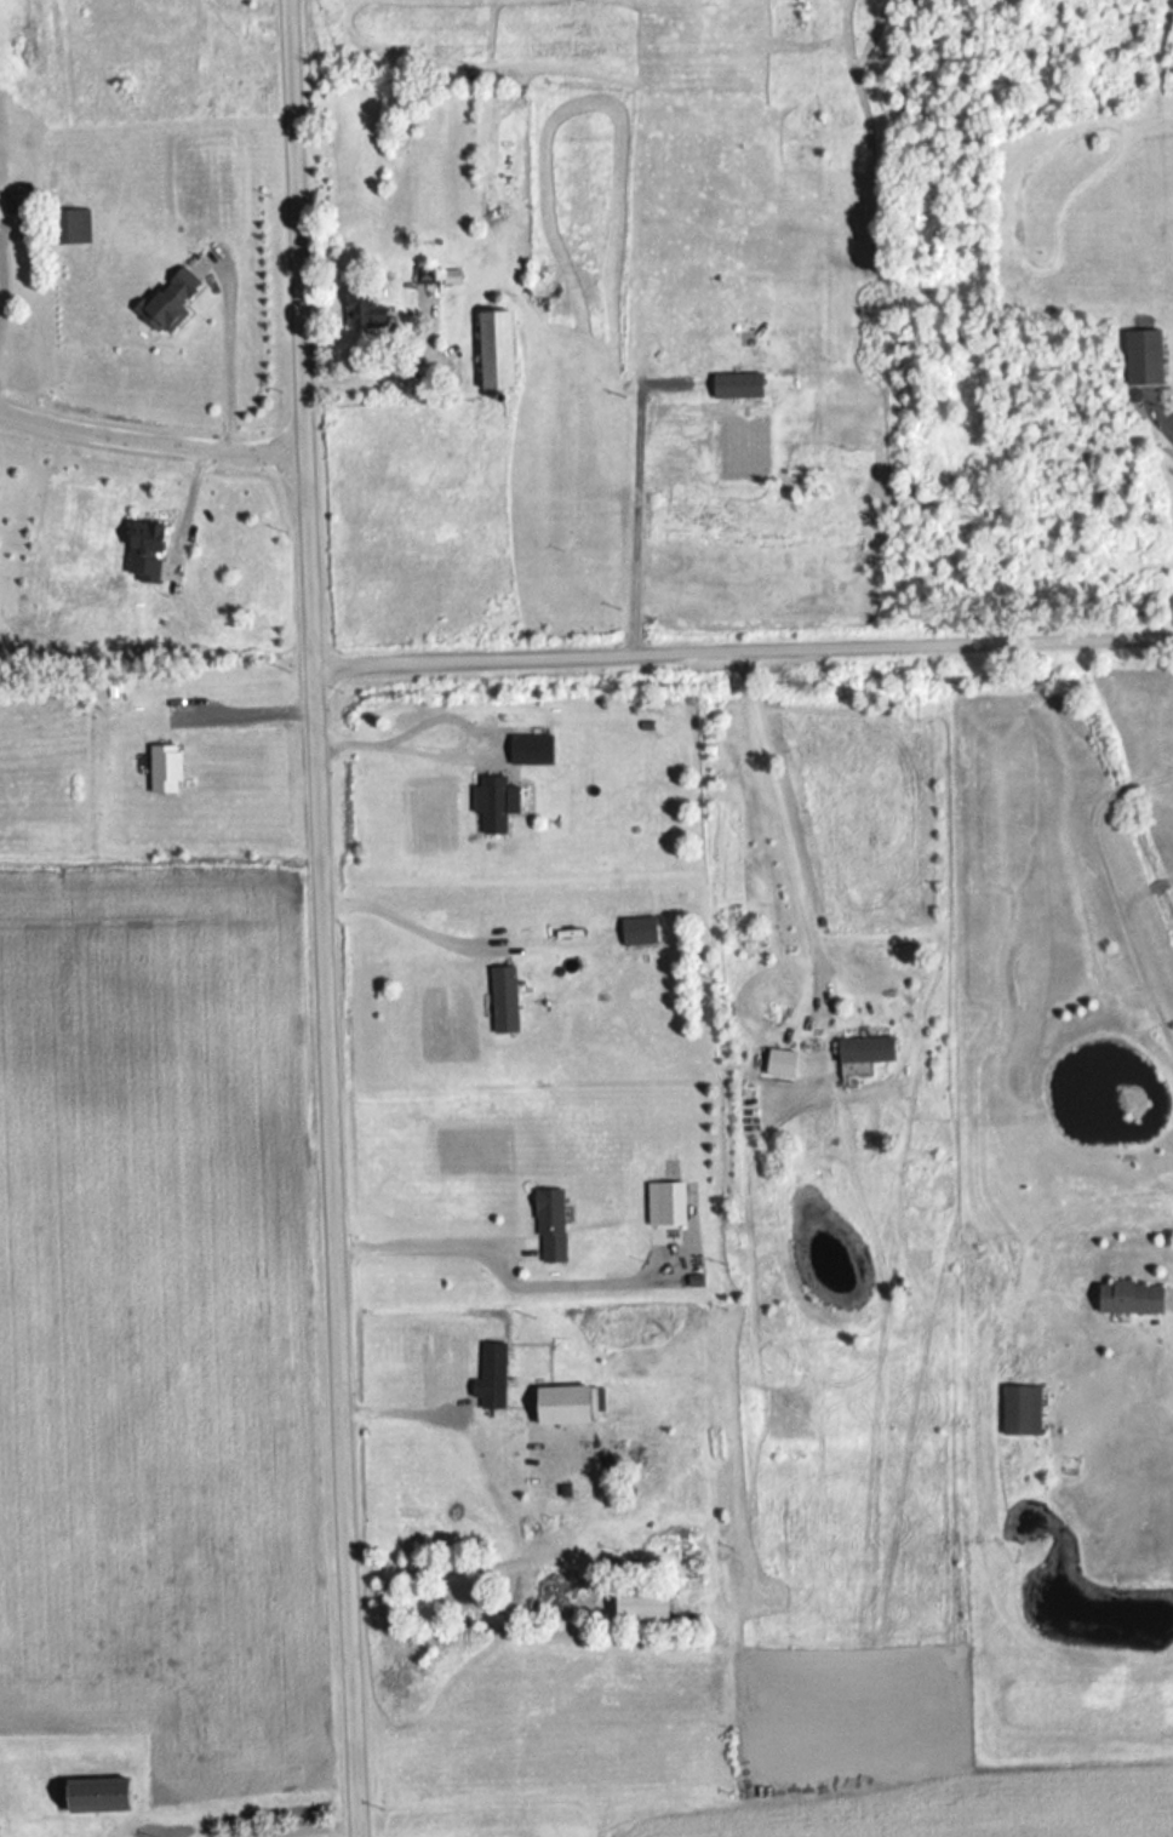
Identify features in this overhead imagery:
building: (18, 205)
road: (10, 274)
building: (430, 276)
building: (173, 303)
building: (367, 305)
building: (500, 350)
road: (235, 355)
building: (1148, 359)
road: (150, 430)
building: (149, 554)
road: (742, 652)
road: (241, 709)
building: (170, 771)
building: (498, 806)
road: (776, 829)
road: (1172, 880)
road: (1160, 886)
road: (395, 915)
road: (315, 918)
building: (642, 933)
road: (1143, 966)
building: (508, 1002)
building: (871, 1052)
building: (554, 1227)
road: (416, 1240)
building: (1135, 1300)
building: (496, 1379)
building: (570, 1407)
building: (1024, 1412)
building: (176, 1528)
building: (51, 1536)
building: (565, 1595)
building: (99, 1797)
road: (273, 1827)

